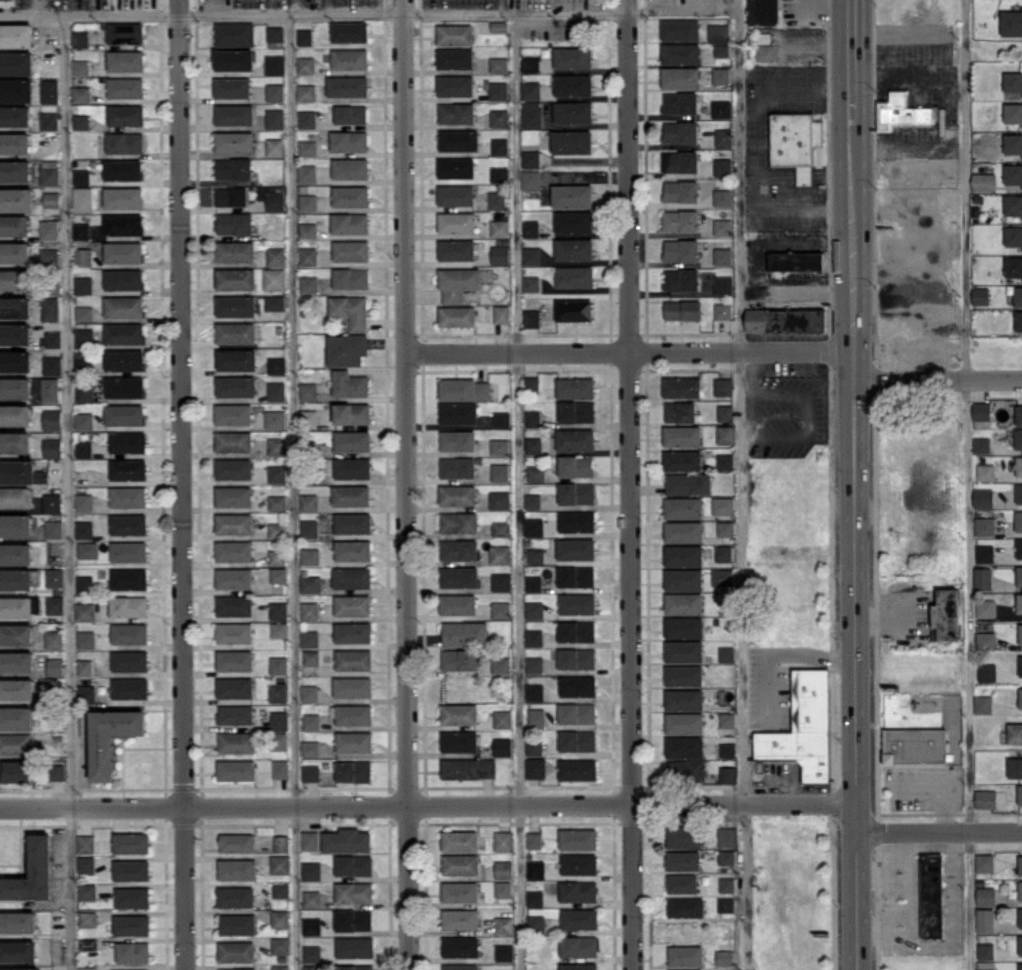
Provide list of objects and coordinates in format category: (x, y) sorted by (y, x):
road: (325, 5)
road: (501, 5)
road: (35, 6)
road: (368, 10)
building: (764, 11)
building: (1011, 22)
building: (680, 29)
building: (349, 31)
building: (718, 31)
building: (125, 33)
building: (234, 34)
building: (275, 34)
building: (455, 34)
building: (16, 35)
building: (304, 37)
building: (80, 39)
road: (817, 40)
building: (721, 50)
building: (766, 52)
building: (680, 53)
building: (572, 57)
building: (349, 58)
building: (454, 58)
building: (234, 59)
building: (125, 60)
building: (16, 62)
building: (275, 64)
building: (498, 64)
building: (530, 64)
road: (852, 64)
building: (305, 65)
building: (80, 67)
road: (897, 71)
building: (721, 75)
building: (680, 77)
building: (1013, 81)
building: (454, 85)
building: (572, 85)
building: (347, 86)
building: (125, 87)
building: (231, 87)
building: (16, 90)
building: (49, 90)
building: (498, 90)
building: (530, 90)
building: (275, 92)
building: (306, 92)
building: (81, 93)
building: (680, 102)
building: (721, 108)
building: (903, 111)
building: (456, 112)
building: (573, 112)
building: (1013, 112)
building: (531, 113)
building: (125, 114)
building: (234, 114)
building: (350, 114)
building: (15, 116)
building: (275, 118)
building: (307, 118)
building: (499, 118)
building: (49, 120)
building: (81, 121)
building: (680, 132)
building: (723, 137)
building: (458, 140)
building: (234, 141)
building: (349, 141)
building: (571, 141)
building: (124, 142)
building: (795, 142)
building: (15, 143)
building: (1013, 143)
building: (499, 146)
building: (275, 147)
building: (307, 147)
road: (755, 147)
building: (530, 158)
building: (680, 161)
building: (722, 166)
building: (456, 167)
building: (233, 168)
building: (350, 168)
building: (123, 169)
building: (15, 170)
building: (50, 172)
building: (307, 173)
building: (1013, 173)
building: (499, 174)
building: (81, 176)
building: (530, 179)
building: (984, 181)
building: (681, 191)
building: (456, 194)
building: (572, 195)
building: (231, 196)
building: (350, 196)
building: (123, 197)
building: (271, 197)
building: (722, 197)
building: (17, 199)
building: (52, 199)
building: (83, 199)
building: (496, 200)
building: (307, 202)
building: (1013, 204)
road: (935, 205)
building: (680, 220)
building: (573, 221)
building: (349, 222)
building: (456, 222)
building: (234, 223)
building: (15, 224)
building: (123, 224)
building: (722, 226)
building: (499, 228)
building: (531, 228)
building: (49, 229)
building: (81, 230)
building: (307, 230)
building: (1013, 236)
road: (794, 242)
building: (456, 249)
building: (574, 249)
building: (681, 249)
building: (235, 250)
building: (351, 250)
building: (124, 251)
building: (15, 252)
building: (500, 254)
building: (49, 255)
building: (531, 255)
building: (276, 256)
building: (308, 256)
building: (723, 256)
building: (83, 257)
building: (796, 261)
building: (1013, 266)
building: (574, 276)
building: (351, 277)
building: (235, 278)
building: (15, 279)
building: (124, 279)
building: (274, 279)
building: (681, 279)
building: (457, 283)
building: (531, 283)
building: (309, 284)
building: (83, 285)
building: (723, 285)
road: (794, 294)
building: (980, 295)
building: (1017, 296)
building: (274, 302)
building: (235, 305)
building: (124, 306)
building: (15, 307)
building: (50, 308)
building: (573, 309)
building: (683, 309)
building: (350, 310)
building: (722, 311)
building: (84, 313)
building: (501, 313)
building: (456, 316)
building: (531, 317)
building: (785, 319)
building: (1018, 320)
building: (235, 332)
building: (15, 333)
building: (124, 333)
building: (84, 337)
building: (53, 339)
building: (346, 349)
road: (629, 351)
building: (83, 359)
building: (124, 359)
building: (236, 359)
building: (15, 360)
building: (52, 364)
building: (277, 365)
road: (937, 381)
building: (349, 383)
building: (531, 383)
building: (236, 386)
building: (681, 386)
building: (723, 386)
building: (15, 387)
building: (125, 387)
building: (575, 387)
building: (49, 389)
building: (464, 389)
building: (276, 390)
building: (308, 391)
building: (84, 393)
road: (806, 403)
building: (981, 410)
building: (576, 411)
building: (679, 411)
building: (458, 412)
building: (725, 412)
building: (233, 413)
building: (352, 413)
building: (124, 414)
building: (1019, 414)
building: (15, 415)
building: (309, 418)
building: (533, 418)
building: (52, 419)
building: (275, 419)
building: (501, 419)
building: (84, 420)
building: (725, 434)
building: (682, 435)
building: (1018, 438)
building: (457, 439)
building: (575, 439)
building: (352, 440)
building: (233, 441)
building: (15, 442)
building: (128, 442)
building: (533, 445)
building: (981, 445)
building: (277, 446)
building: (499, 446)
building: (52, 447)
building: (84, 449)
building: (682, 460)
building: (725, 461)
building: (575, 465)
building: (1018, 465)
building: (457, 467)
building: (233, 468)
building: (352, 468)
building: (128, 469)
building: (500, 471)
building: (22, 472)
building: (985, 472)
building: (277, 473)
building: (536, 473)
building: (688, 483)
road: (181, 484)
road: (406, 484)
road: (630, 484)
road: (737, 485)
road: (968, 485)
road: (517, 489)
road: (292, 490)
road: (68, 491)
building: (576, 493)
building: (1019, 493)
building: (351, 495)
building: (457, 495)
building: (128, 496)
building: (234, 496)
building: (16, 497)
building: (983, 498)
building: (500, 500)
building: (532, 500)
building: (309, 501)
building: (52, 502)
building: (84, 502)
building: (277, 502)
building: (723, 505)
building: (683, 507)
building: (1018, 520)
building: (577, 521)
building: (353, 522)
building: (459, 522)
building: (233, 523)
building: (16, 524)
building: (129, 524)
building: (534, 526)
building: (985, 526)
building: (309, 528)
building: (501, 528)
building: (726, 528)
building: (54, 529)
building: (84, 529)
building: (277, 530)
building: (683, 531)
building: (1019, 547)
building: (576, 548)
building: (88, 549)
building: (459, 549)
road: (854, 549)
building: (234, 550)
building: (353, 550)
building: (128, 551)
building: (16, 553)
building: (723, 553)
building: (984, 553)
building: (500, 554)
building: (310, 555)
building: (536, 555)
building: (683, 555)
building: (277, 557)
building: (279, 575)
building: (1019, 575)
building: (576, 576)
building: (54, 577)
building: (352, 577)
building: (459, 577)
building: (129, 578)
building: (234, 578)
building: (722, 578)
building: (982, 578)
building: (16, 579)
building: (683, 579)
building: (501, 582)
building: (310, 583)
building: (533, 583)
building: (85, 584)
building: (1019, 602)
building: (458, 603)
building: (577, 603)
building: (684, 603)
building: (55, 604)
building: (234, 605)
building: (352, 605)
building: (16, 606)
building: (129, 606)
building: (985, 608)
building: (501, 609)
building: (278, 610)
building: (309, 610)
building: (534, 610)
building: (85, 611)
building: (946, 614)
road: (882, 615)
building: (684, 627)
building: (279, 630)
building: (576, 630)
building: (234, 632)
building: (353, 632)
building: (465, 632)
building: (129, 633)
building: (1020, 633)
building: (16, 634)
building: (533, 637)
building: (309, 638)
building: (54, 639)
building: (86, 639)
building: (986, 640)
building: (684, 651)
building: (726, 653)
road: (778, 653)
building: (311, 657)
building: (576, 658)
building: (353, 659)
building: (459, 659)
building: (129, 660)
building: (234, 660)
building: (16, 661)
building: (500, 664)
building: (534, 664)
building: (278, 665)
building: (1020, 665)
building: (55, 666)
building: (85, 667)
building: (986, 671)
building: (683, 675)
building: (578, 685)
building: (352, 686)
building: (234, 687)
building: (130, 688)
building: (17, 689)
building: (278, 691)
building: (534, 692)
building: (86, 693)
building: (309, 693)
building: (1020, 697)
building: (684, 699)
building: (983, 704)
building: (459, 713)
building: (577, 713)
building: (235, 714)
building: (353, 714)
building: (536, 717)
building: (16, 718)
building: (502, 719)
building: (727, 719)
building: (279, 720)
building: (311, 721)
building: (684, 723)
building: (803, 727)
building: (1014, 733)
building: (111, 738)
building: (577, 740)
building: (279, 741)
building: (354, 741)
building: (459, 741)
building: (236, 742)
building: (15, 743)
building: (914, 745)
building: (501, 746)
building: (534, 747)
building: (684, 747)
building: (310, 748)
building: (727, 749)
building: (535, 767)
building: (1014, 767)
building: (280, 768)
building: (468, 768)
building: (236, 769)
building: (577, 769)
building: (686, 769)
building: (15, 770)
building: (57, 771)
building: (353, 771)
building: (310, 773)
building: (728, 774)
road: (945, 782)
building: (1019, 794)
building: (986, 798)
road: (428, 806)
road: (939, 833)
building: (684, 836)
building: (727, 836)
building: (578, 838)
building: (534, 839)
building: (310, 840)
building: (346, 840)
building: (459, 840)
building: (503, 841)
building: (131, 842)
building: (237, 842)
building: (86, 843)
building: (281, 843)
building: (726, 856)
building: (682, 860)
building: (984, 862)
building: (86, 864)
building: (280, 864)
building: (353, 864)
building: (460, 864)
building: (579, 864)
building: (1020, 864)
building: (237, 869)
building: (502, 869)
building: (535, 869)
building: (131, 870)
building: (311, 870)
building: (32, 872)
building: (682, 883)
building: (726, 884)
road: (911, 884)
building: (280, 889)
building: (502, 889)
building: (1020, 890)
building: (87, 891)
building: (460, 891)
building: (578, 891)
building: (354, 892)
building: (931, 895)
building: (985, 895)
building: (235, 896)
building: (132, 897)
building: (535, 898)
building: (311, 899)
building: (726, 904)
building: (685, 906)
building: (1020, 917)
building: (279, 918)
building: (579, 918)
building: (88, 919)
building: (353, 919)
building: (460, 919)
building: (985, 919)
building: (18, 921)
building: (535, 923)
building: (131, 924)
building: (237, 924)
building: (502, 925)
building: (311, 926)
building: (88, 943)
building: (1020, 944)
building: (280, 945)
building: (578, 945)
building: (460, 946)
road: (954, 946)
building: (355, 947)
building: (18, 951)
building: (132, 951)
building: (236, 951)
building: (985, 951)
building: (502, 952)
building: (311, 953)
building: (685, 955)
building: (724, 957)
building: (578, 966)
building: (1020, 966)
building: (280, 967)
building: (309, 967)
building: (354, 967)
building: (460, 967)
building: (20, 968)
building: (88, 968)
building: (134, 969)
building: (238, 969)
building: (503, 969)
building: (690, 969)
building: (724, 969)
building: (985, 969)

